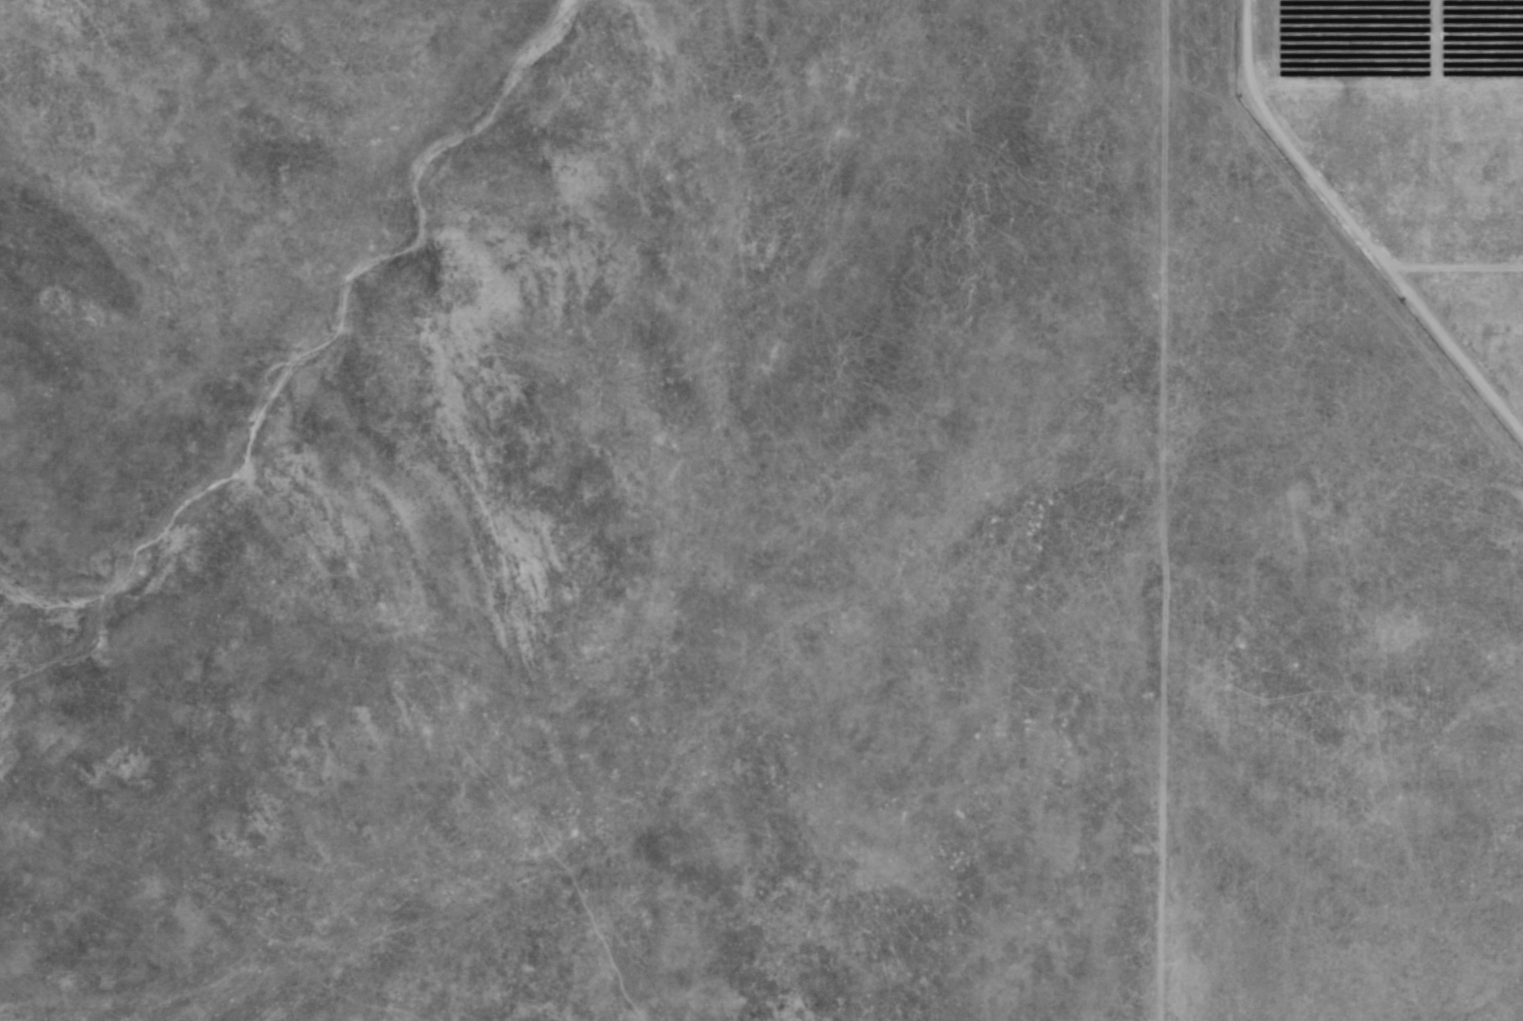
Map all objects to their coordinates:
solar farm: (685, 478)

